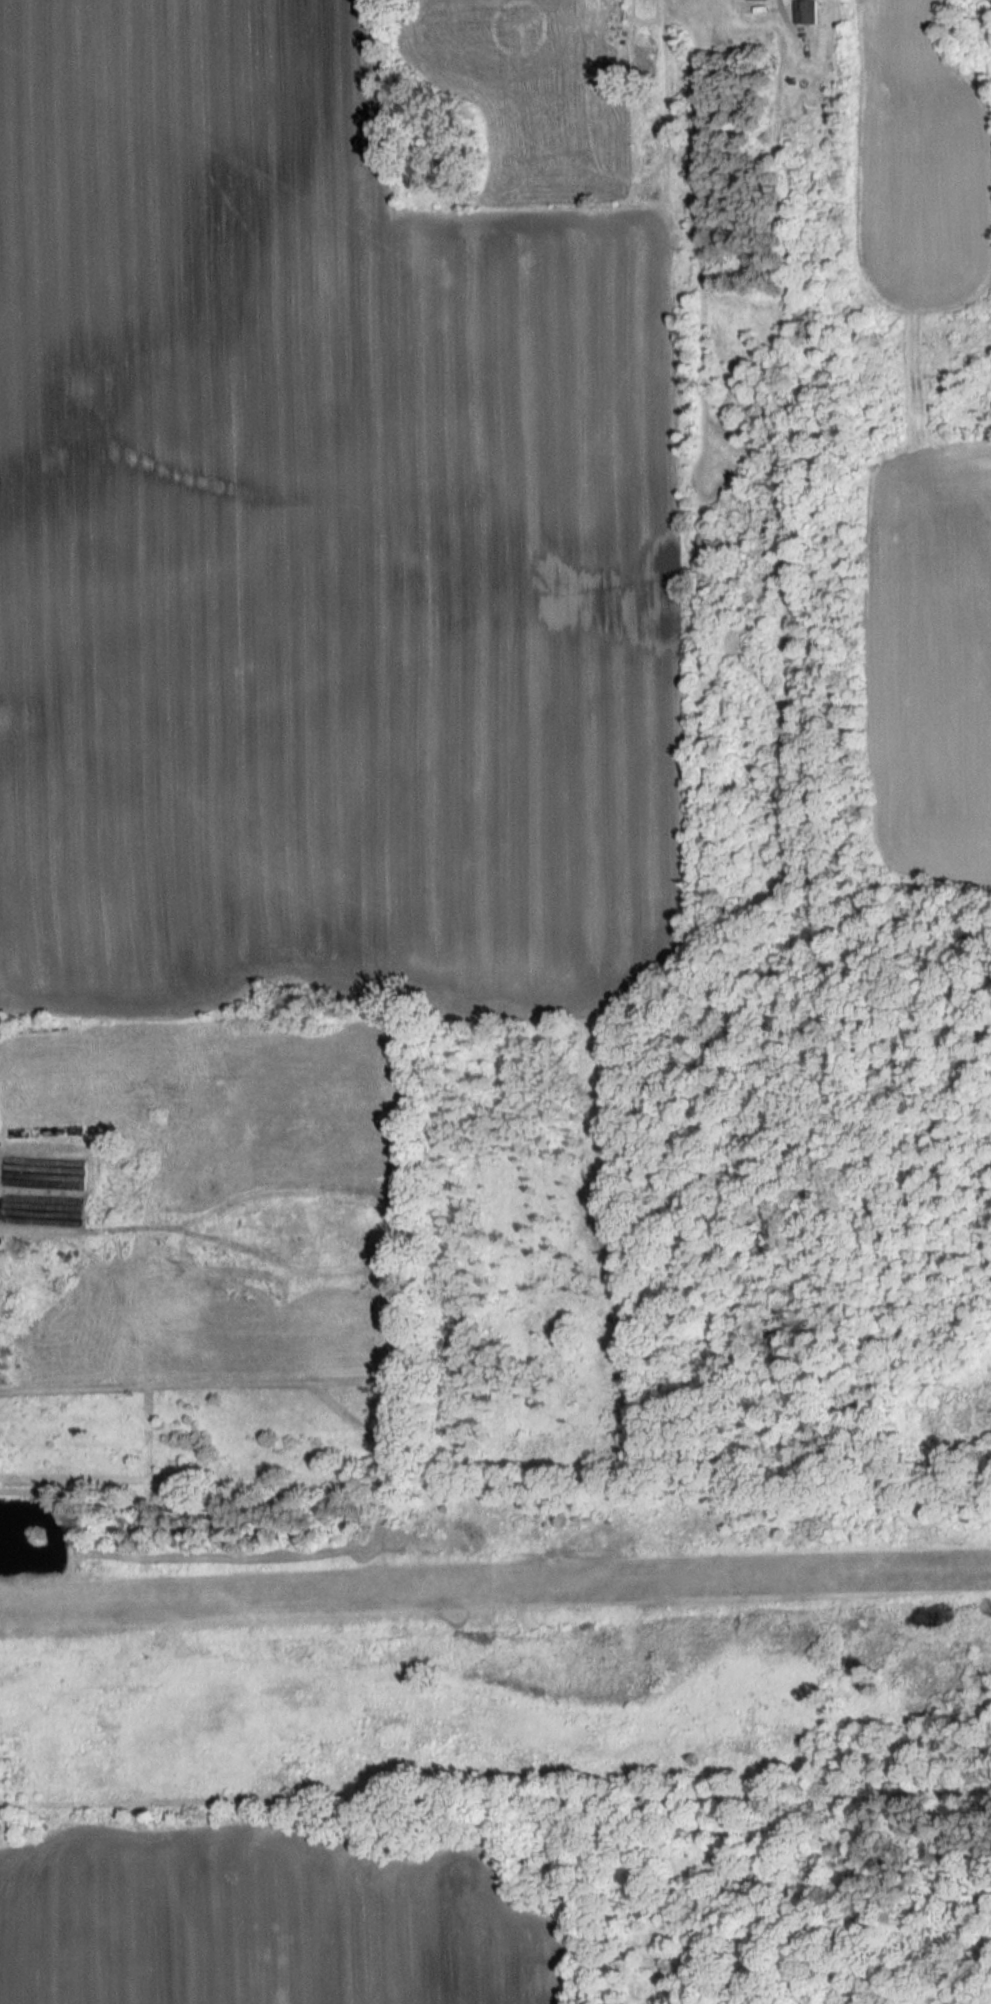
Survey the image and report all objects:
building: (807, 10)

